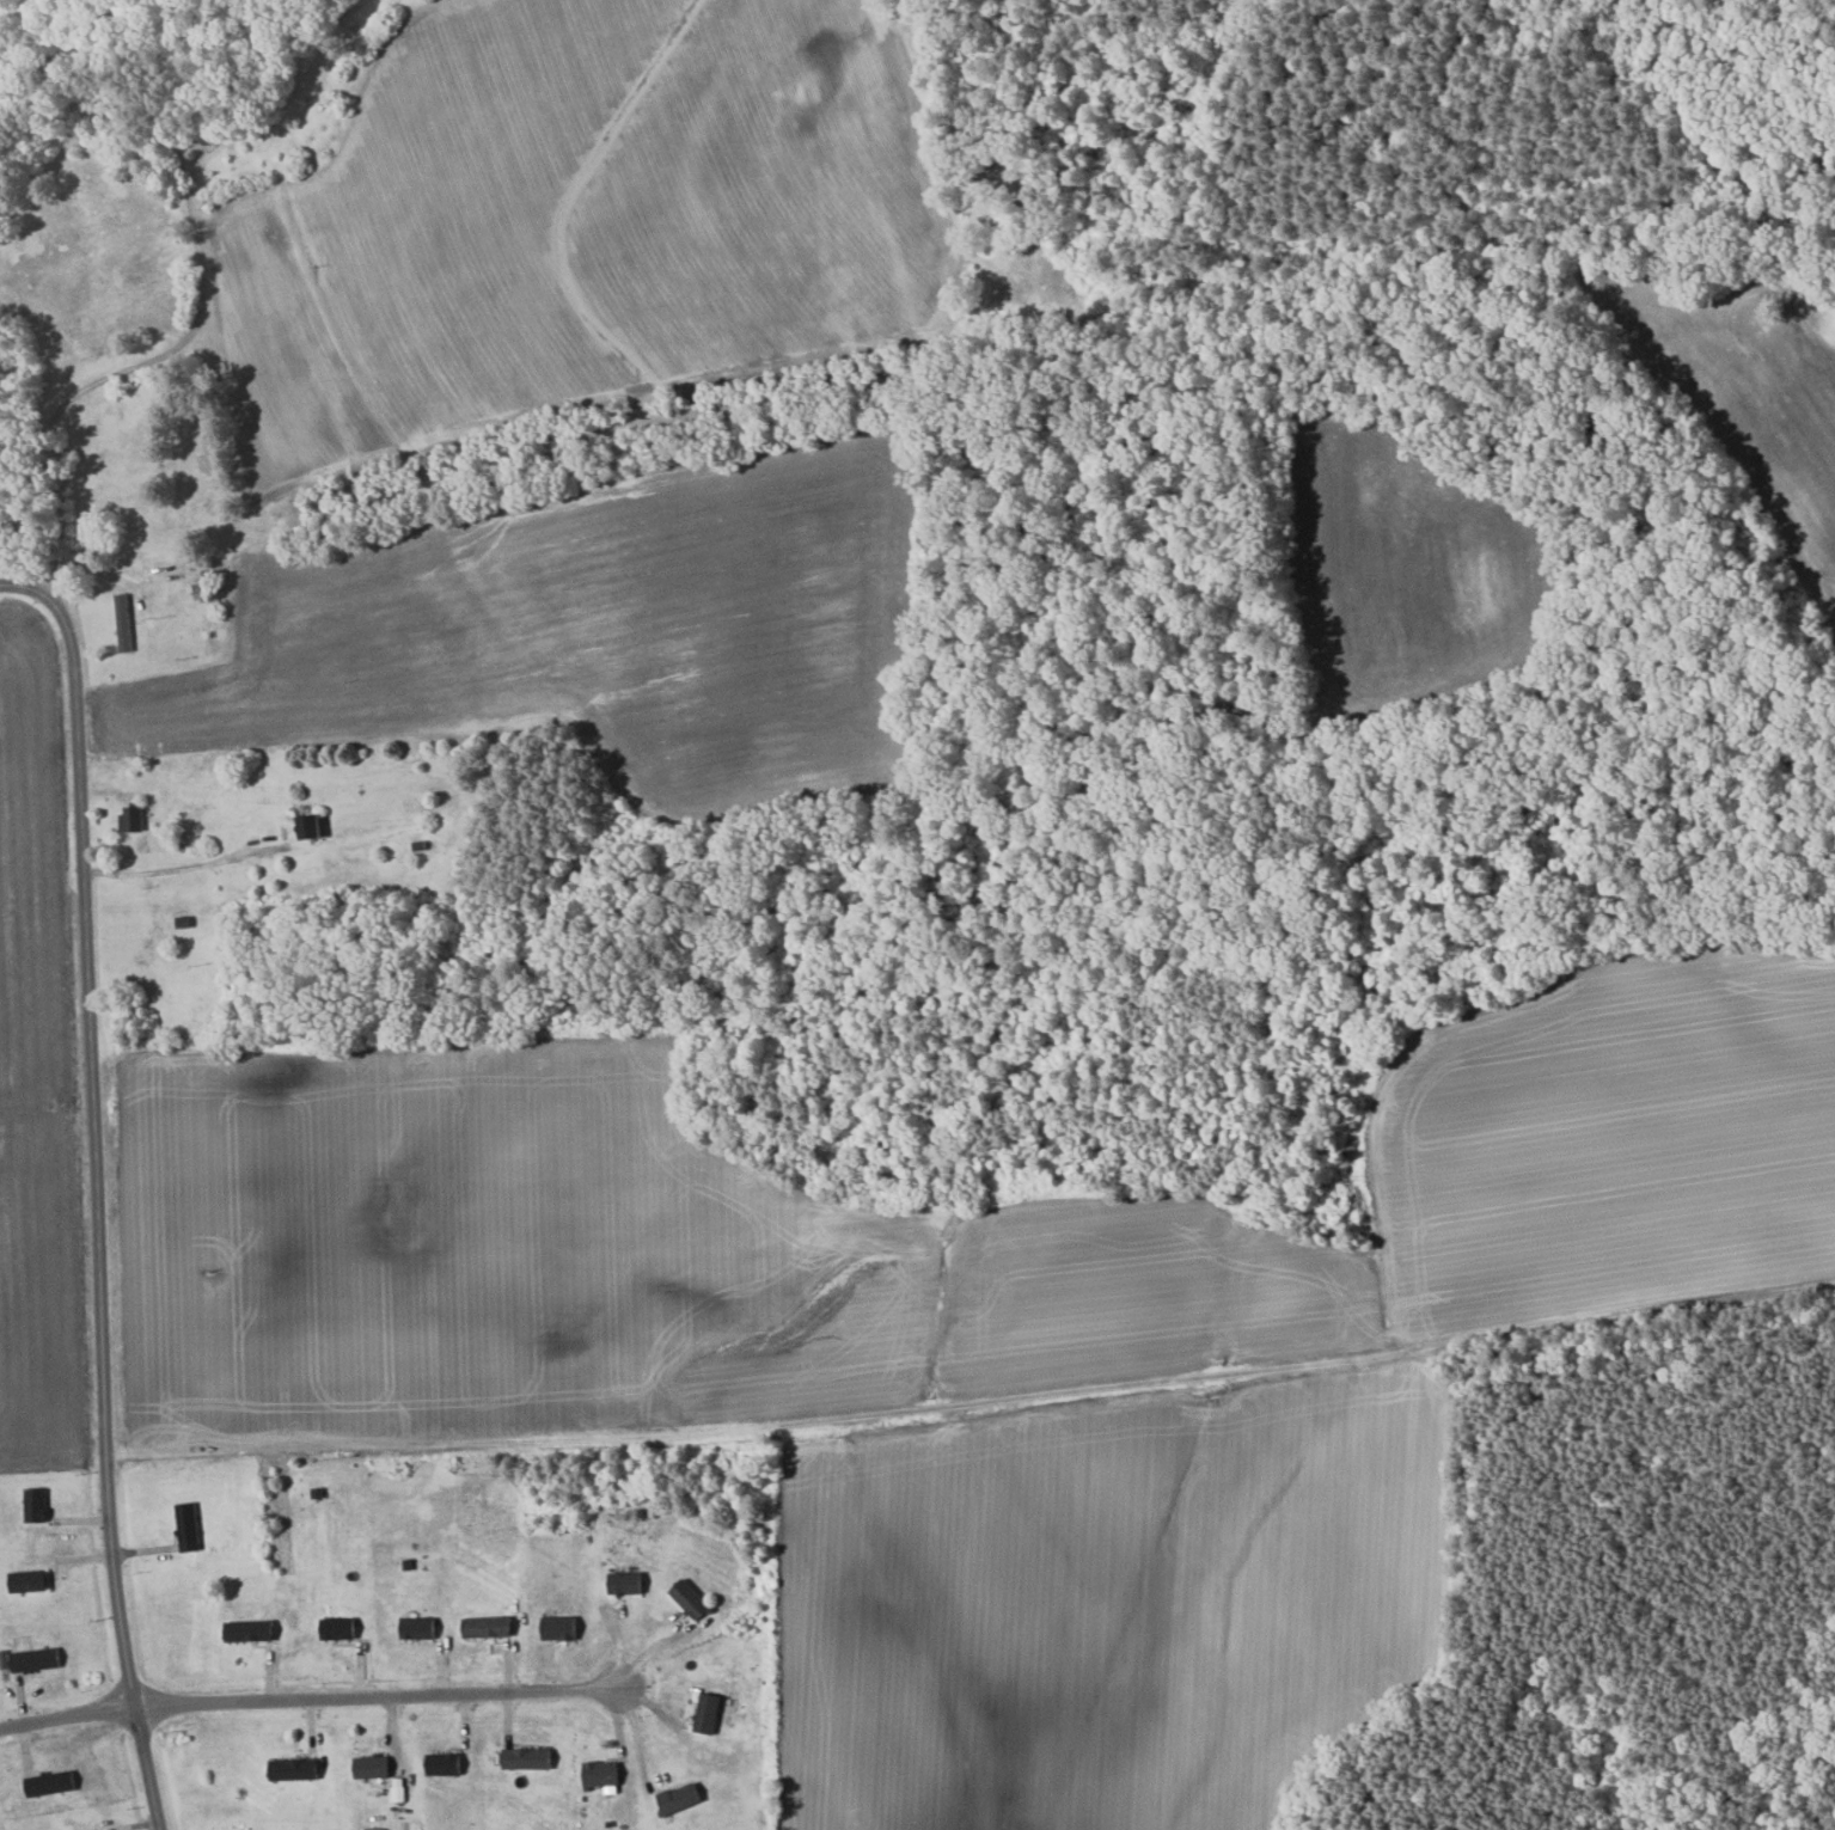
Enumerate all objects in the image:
road: (201, 308)
building: (124, 623)
building: (134, 818)
building: (314, 826)
road: (182, 868)
road: (93, 1188)
building: (37, 1505)
building: (190, 1528)
building: (31, 1581)
building: (626, 1584)
building: (692, 1599)
building: (490, 1627)
building: (421, 1628)
building: (561, 1628)
building: (340, 1629)
building: (252, 1632)
building: (38, 1659)
road: (377, 1697)
building: (709, 1714)
road: (67, 1718)
road: (638, 1742)
building: (531, 1758)
building: (445, 1764)
building: (373, 1768)
building: (296, 1770)
building: (603, 1775)
building: (54, 1783)
building: (683, 1798)

